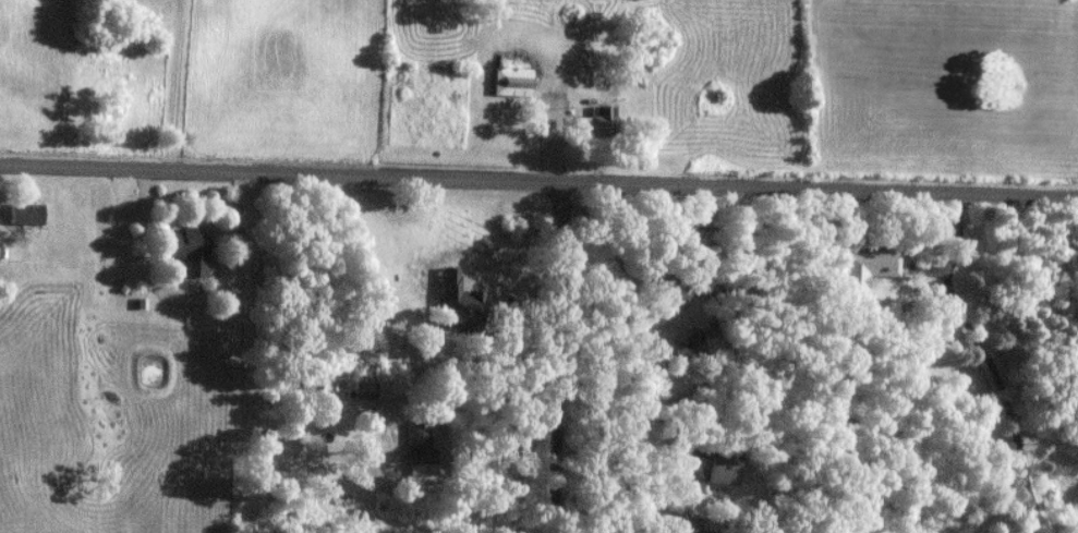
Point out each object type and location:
building: (511, 81)
building: (595, 120)
road: (538, 183)
building: (25, 214)
building: (189, 251)
road: (147, 255)
building: (865, 266)
building: (663, 293)
road: (658, 320)
building: (685, 355)
road: (562, 358)
road: (989, 363)
road: (601, 365)
road: (250, 385)
building: (364, 390)
building: (421, 449)
road: (630, 462)
building: (711, 464)
building: (688, 525)

